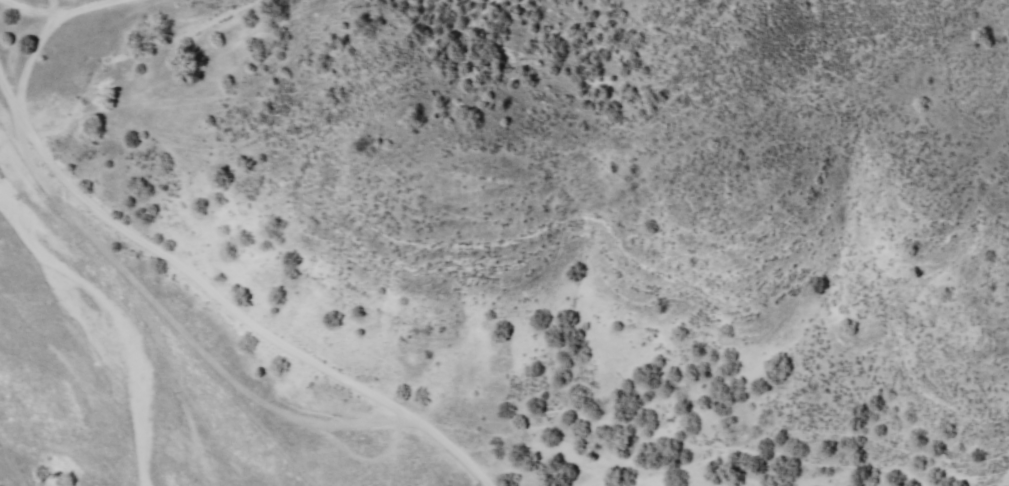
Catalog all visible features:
road: (55, 10)
road: (33, 57)
road: (222, 303)

